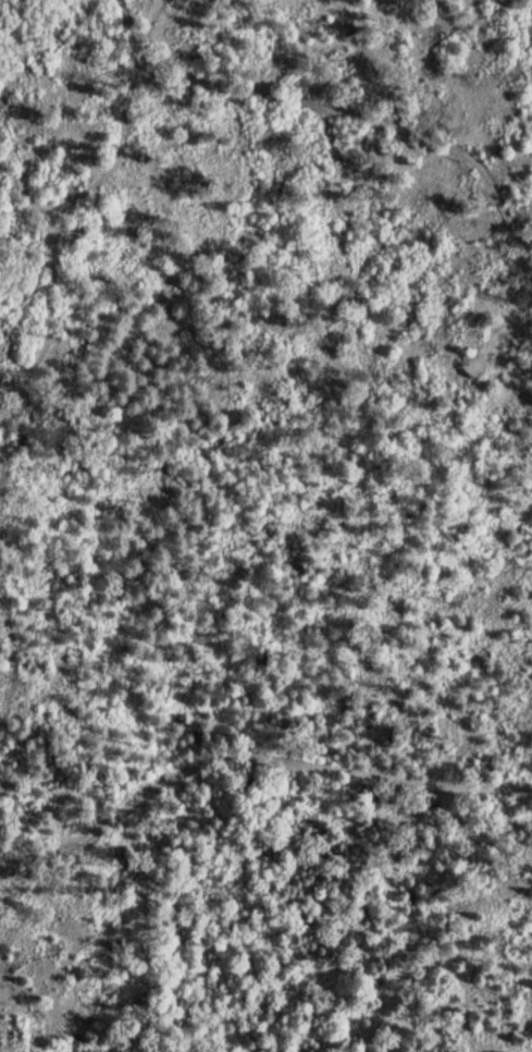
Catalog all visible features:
road: (335, 115)
road: (252, 762)

